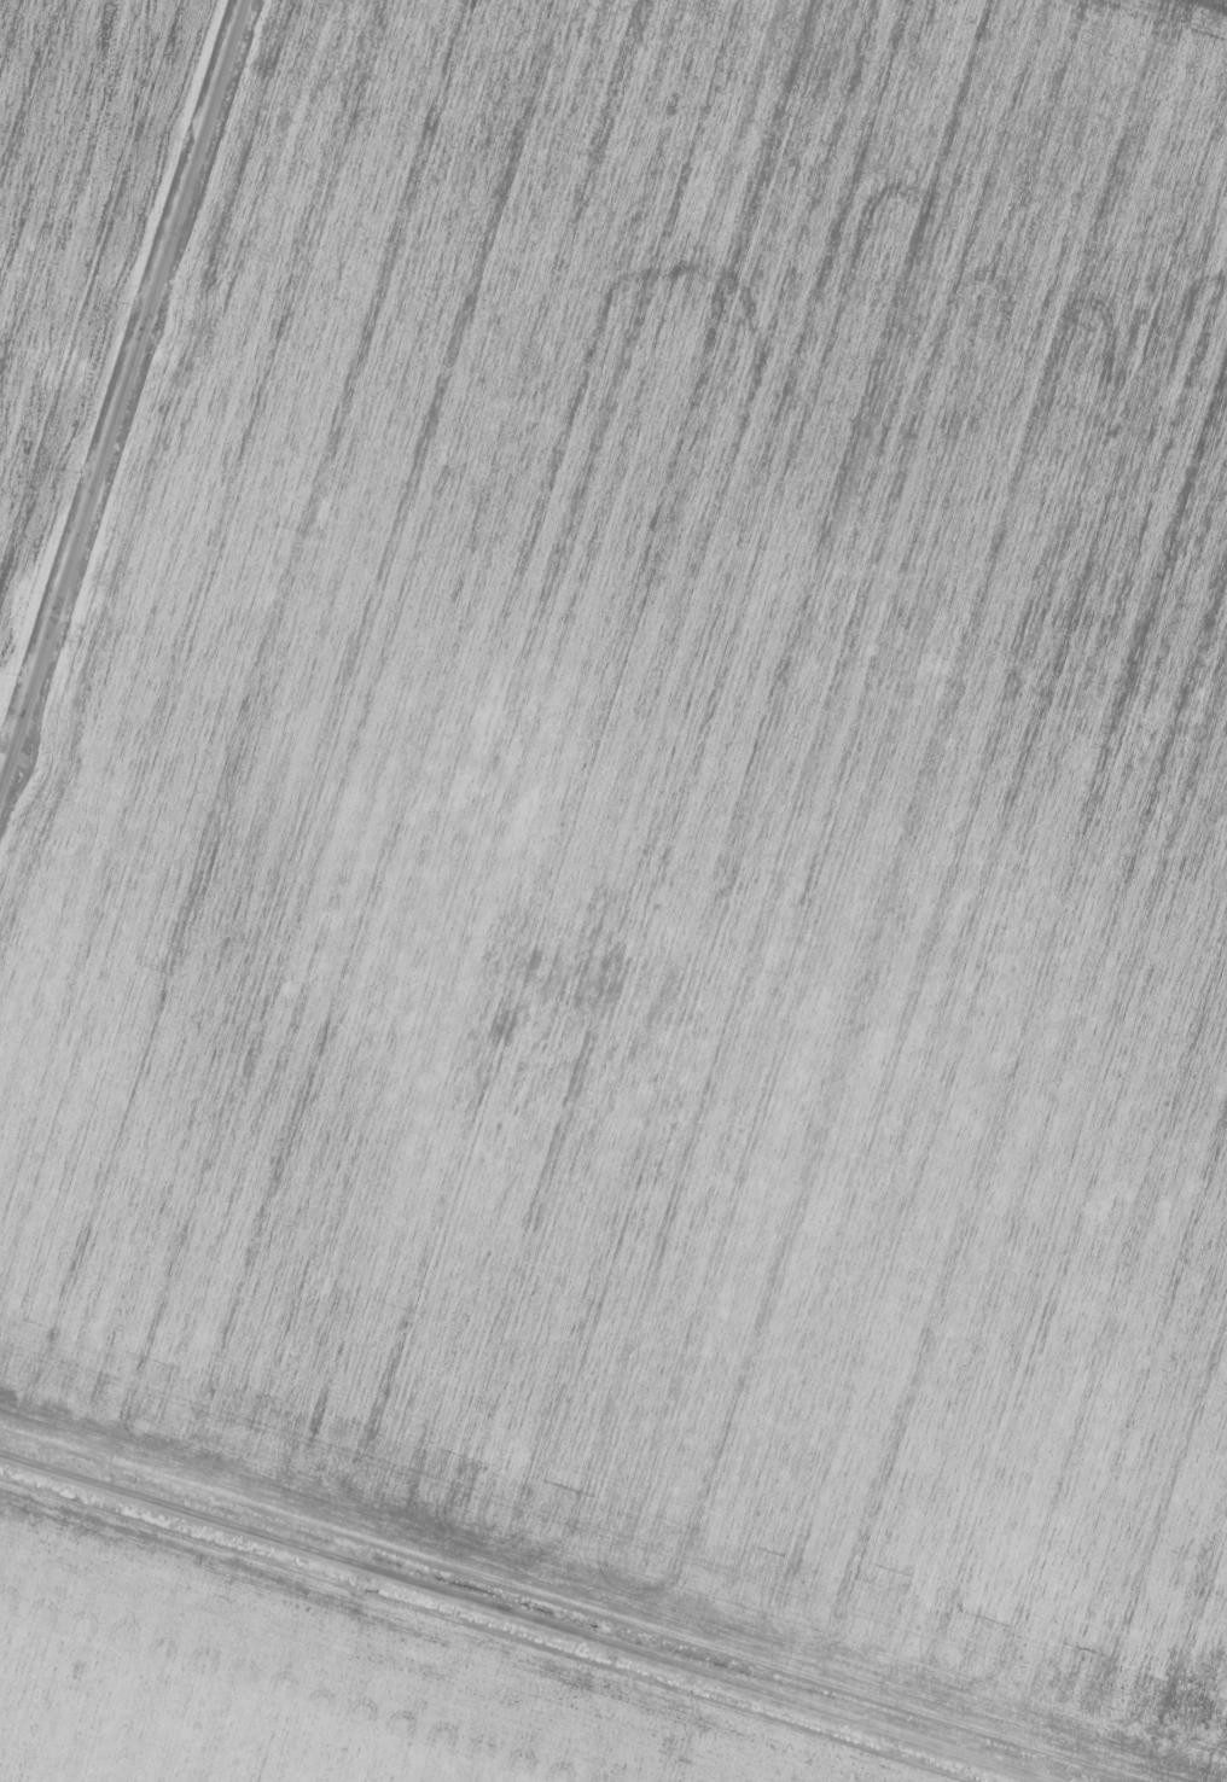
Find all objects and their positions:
road: (134, 429)
crop: (675, 840)
road: (527, 1609)

